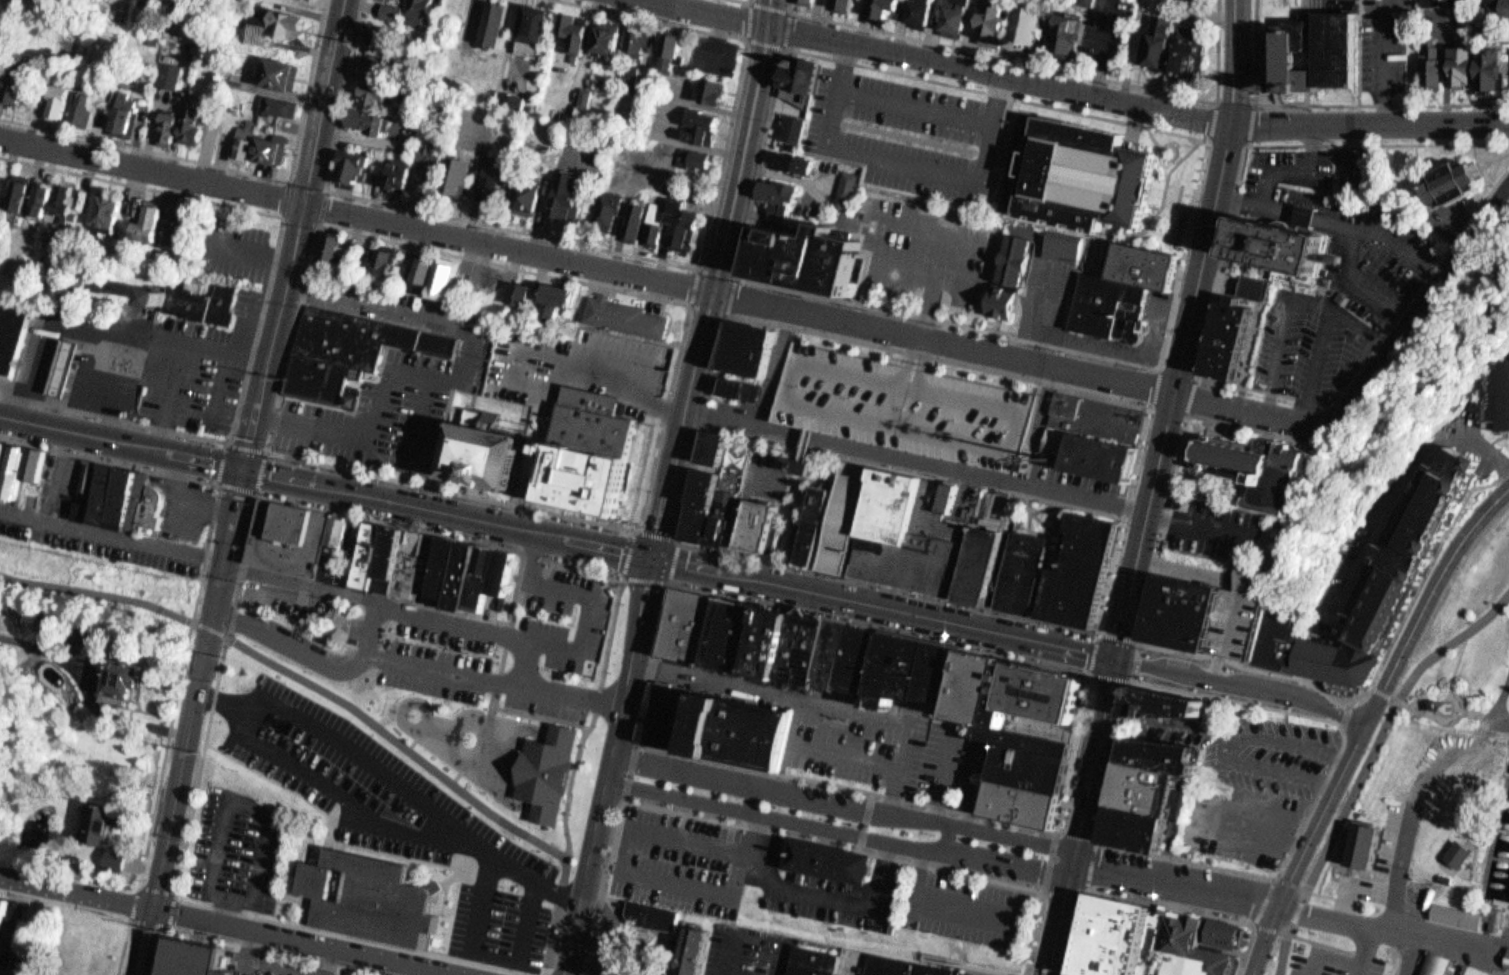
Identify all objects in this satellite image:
building: (402, 0)
building: (309, 1)
road: (742, 1)
building: (812, 2)
building: (386, 6)
building: (846, 6)
building: (890, 7)
building: (424, 8)
building: (1500, 8)
building: (413, 9)
building: (916, 10)
building: (395, 12)
building: (946, 14)
building: (960, 16)
building: (281, 17)
building: (527, 17)
building: (1021, 18)
building: (987, 19)
building: (493, 22)
building: (367, 25)
building: (539, 25)
building: (1033, 25)
building: (568, 26)
building: (1061, 27)
building: (601, 30)
building: (578, 32)
building: (631, 34)
building: (385, 35)
building: (1072, 37)
building: (642, 39)
building: (1153, 40)
building: (613, 41)
building: (666, 46)
building: (1183, 46)
building: (1307, 46)
road: (780, 47)
road: (1217, 50)
road: (1256, 52)
road: (997, 55)
building: (1456, 58)
building: (1428, 59)
road: (943, 61)
building: (1508, 61)
building: (1468, 66)
building: (1482, 66)
building: (275, 67)
building: (627, 68)
road: (881, 69)
building: (802, 74)
building: (166, 75)
building: (7, 78)
building: (20, 87)
building: (705, 87)
building: (500, 89)
building: (580, 90)
building: (48, 94)
building: (513, 95)
building: (272, 97)
building: (76, 100)
road: (913, 100)
road: (1236, 102)
road: (1382, 103)
building: (59, 105)
building: (287, 107)
building: (116, 108)
building: (434, 109)
building: (125, 115)
building: (361, 117)
building: (695, 118)
building: (184, 119)
road: (1210, 120)
road: (1370, 122)
building: (159, 123)
road: (1251, 124)
building: (796, 127)
parking lot: (908, 129)
building: (168, 131)
building: (266, 139)
road: (1226, 142)
building: (235, 143)
road: (1378, 144)
building: (691, 151)
road: (900, 153)
building: (420, 159)
building: (348, 161)
building: (794, 161)
road: (1496, 161)
building: (434, 166)
building: (1364, 166)
building: (391, 167)
road: (232, 168)
building: (450, 169)
building: (488, 170)
building: (1079, 175)
building: (401, 176)
building: (463, 176)
building: (502, 179)
building: (1, 180)
building: (847, 182)
building: (1463, 183)
road: (322, 188)
building: (558, 188)
building: (519, 190)
building: (780, 190)
building: (12, 191)
building: (33, 195)
building: (532, 195)
building: (24, 196)
building: (572, 196)
building: (54, 197)
building: (599, 206)
building: (610, 206)
building: (96, 210)
building: (628, 215)
building: (141, 218)
building: (171, 221)
building: (666, 222)
building: (183, 227)
road: (294, 233)
building: (323, 240)
building: (1061, 245)
building: (1284, 245)
building: (334, 248)
road: (619, 251)
building: (375, 254)
road: (1184, 255)
building: (811, 257)
building: (387, 262)
road: (588, 262)
road: (1223, 262)
building: (415, 263)
building: (1148, 265)
building: (435, 275)
building: (1010, 276)
road: (709, 278)
building: (450, 281)
building: (511, 289)
road: (1424, 291)
building: (525, 295)
building: (550, 295)
building: (564, 301)
building: (195, 302)
road: (687, 303)
road: (687, 304)
road: (259, 305)
building: (1109, 305)
building: (620, 311)
road: (947, 322)
road: (1189, 330)
building: (12, 336)
building: (1235, 339)
road: (202, 340)
building: (750, 347)
building: (349, 350)
road: (896, 350)
road: (910, 356)
road: (912, 356)
road: (829, 360)
building: (63, 366)
gas station: (63, 366)
road: (781, 367)
parking lot: (185, 368)
road: (169, 373)
road: (1177, 374)
road: (1374, 375)
road: (214, 381)
building: (742, 387)
building: (1490, 388)
road: (1155, 389)
road: (1269, 390)
road: (1193, 396)
building: (907, 404)
parking garage: (907, 404)
road: (1169, 410)
road: (706, 413)
building: (1096, 417)
road: (789, 426)
road: (1249, 430)
road: (979, 439)
building: (714, 445)
road: (1143, 452)
building: (589, 454)
building: (1094, 454)
building: (495, 457)
road: (916, 458)
building: (711, 460)
building: (1249, 464)
building: (5, 466)
building: (39, 466)
traffic signals: (244, 467)
building: (808, 467)
road: (1002, 472)
building: (18, 475)
building: (709, 487)
road: (256, 488)
building: (91, 491)
building: (112, 496)
building: (134, 500)
building: (156, 506)
road: (1132, 507)
road: (1128, 517)
building: (850, 518)
building: (729, 520)
building: (702, 523)
building: (760, 527)
building: (815, 528)
building: (295, 535)
building: (921, 535)
road: (559, 536)
building: (342, 545)
parking lot: (100, 548)
building: (380, 554)
traffic signals: (653, 557)
building: (400, 558)
building: (422, 558)
building: (455, 566)
building: (996, 568)
building: (510, 570)
building: (473, 573)
building: (1030, 573)
building: (1090, 573)
building: (1378, 574)
building: (490, 577)
road: (201, 578)
road: (667, 581)
road: (1428, 596)
road: (369, 599)
building: (1201, 614)
parking lot: (567, 618)
building: (46, 621)
parking lot: (1255, 625)
building: (691, 626)
road: (371, 629)
park: (1463, 631)
building: (743, 633)
road: (1107, 634)
road: (226, 637)
building: (785, 641)
building: (816, 647)
building: (839, 652)
building: (865, 657)
traffic signals: (1119, 658)
road: (526, 662)
road: (410, 663)
road: (1458, 663)
parking lot: (440, 664)
building: (922, 667)
road: (1279, 673)
building: (127, 677)
road: (1244, 685)
road: (1385, 695)
road: (1445, 695)
building: (671, 699)
road: (815, 700)
building: (1176, 700)
road: (221, 702)
road: (1500, 702)
road: (352, 708)
road: (910, 716)
road: (187, 720)
building: (746, 727)
building: (1031, 728)
building: (668, 729)
building: (1167, 750)
parking lot: (861, 751)
road: (850, 754)
parking lot: (1272, 754)
road: (1096, 759)
parking lot: (946, 763)
road: (1368, 765)
road: (609, 766)
building: (552, 769)
road: (629, 770)
road: (579, 772)
road: (944, 773)
building: (1153, 784)
road: (410, 793)
road: (749, 798)
road: (349, 802)
road: (845, 806)
road: (254, 809)
road: (1107, 809)
parking lot: (398, 816)
building: (97, 821)
parking lot: (1248, 824)
building: (1144, 827)
road: (789, 828)
road: (1065, 830)
road: (840, 831)
building: (1450, 832)
road: (948, 834)
building: (1369, 843)
road: (1307, 846)
parking lot: (237, 850)
road: (625, 853)
building: (1463, 853)
pier: (1506, 853)
building: (836, 858)
parking lot: (731, 866)
road: (1079, 888)
road: (818, 890)
road: (73, 893)
building: (373, 895)
road: (933, 897)
parking lot: (960, 902)
road: (1153, 903)
road: (1264, 903)
road: (1278, 907)
road: (91, 910)
building: (641, 912)
building: (1459, 915)
road: (1062, 918)
building: (1501, 918)
road: (151, 924)
building: (9, 925)
pier: (1506, 926)
road: (618, 927)
road: (755, 929)
building: (1226, 933)
building: (1121, 936)
road: (303, 942)
road: (251, 946)
building: (1189, 947)
parking lot: (744, 948)
building: (686, 949)
road: (487, 950)
building: (705, 950)
road: (1409, 953)
building: (195, 956)
road: (1346, 957)
building: (607, 958)
building: (812, 958)
parking lot: (1332, 959)
building: (889, 963)
building: (1436, 964)
building: (1508, 966)
building: (933, 969)
building: (12, 971)

